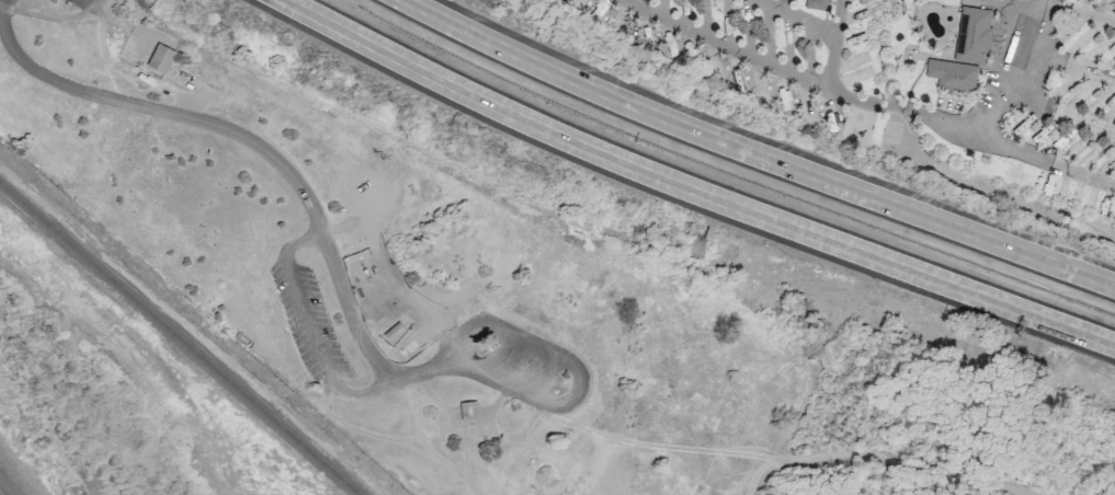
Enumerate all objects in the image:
building: (816, 4)
road: (52, 18)
road: (801, 18)
building: (971, 35)
building: (1017, 42)
road: (838, 44)
building: (160, 58)
building: (952, 74)
road: (869, 103)
road: (239, 135)
road: (756, 153)
road: (1044, 161)
road: (691, 185)
park: (435, 306)
parking lot: (315, 324)
road: (316, 329)
railway: (179, 339)
parking lot: (522, 361)
road: (422, 375)
road: (581, 383)
building: (469, 411)
road: (457, 430)
road: (48, 431)
road: (396, 440)
road: (908, 460)

